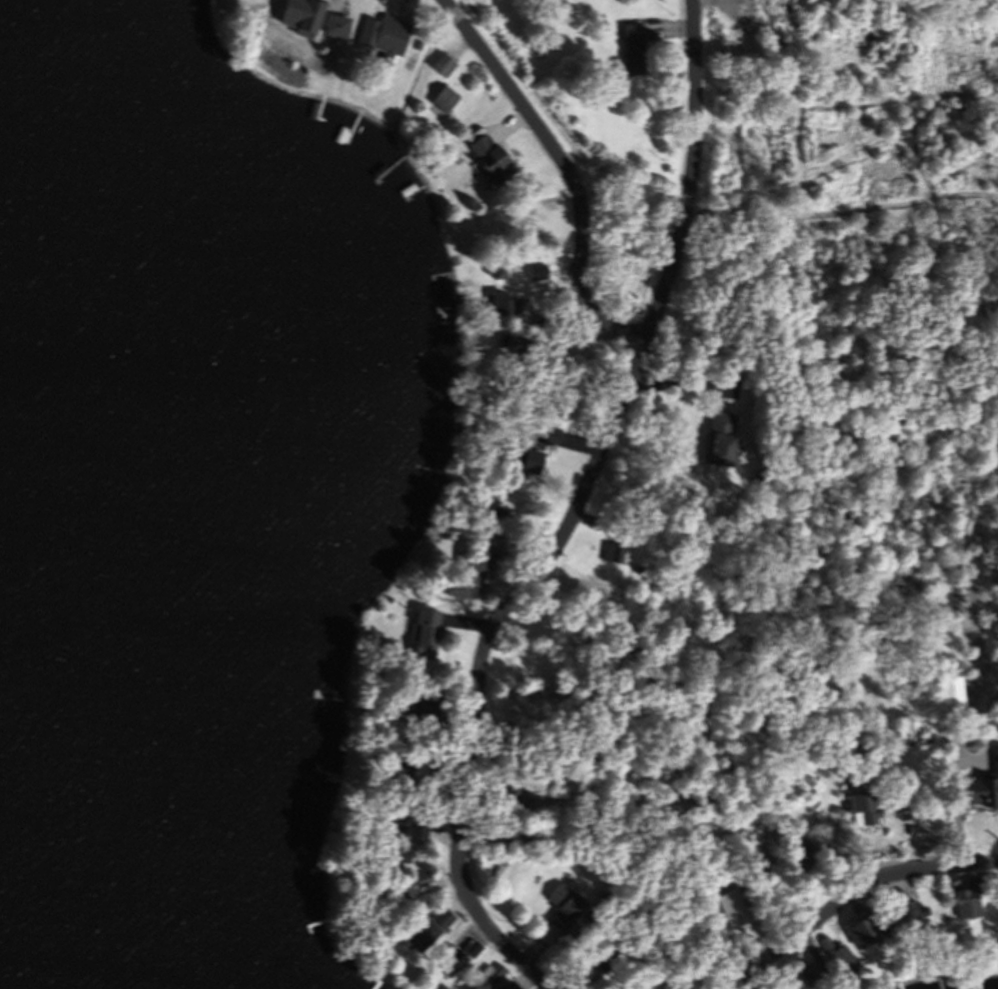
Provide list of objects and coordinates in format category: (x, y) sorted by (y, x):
building: (263, 0)
building: (278, 17)
building: (306, 17)
building: (334, 29)
building: (383, 40)
building: (632, 53)
building: (442, 69)
building: (442, 103)
building: (489, 163)
road: (567, 170)
building: (505, 226)
building: (496, 270)
building: (538, 277)
building: (504, 309)
road: (684, 383)
building: (716, 443)
road: (572, 515)
building: (609, 559)
building: (461, 578)
building: (416, 638)
building: (948, 699)
building: (408, 777)
building: (981, 790)
building: (503, 798)
building: (859, 811)
building: (387, 862)
building: (801, 862)
building: (411, 885)
road: (850, 893)
building: (550, 912)
building: (903, 912)
building: (724, 914)
building: (422, 931)
building: (864, 932)
building: (834, 959)
building: (591, 963)
building: (448, 964)
building: (487, 981)

